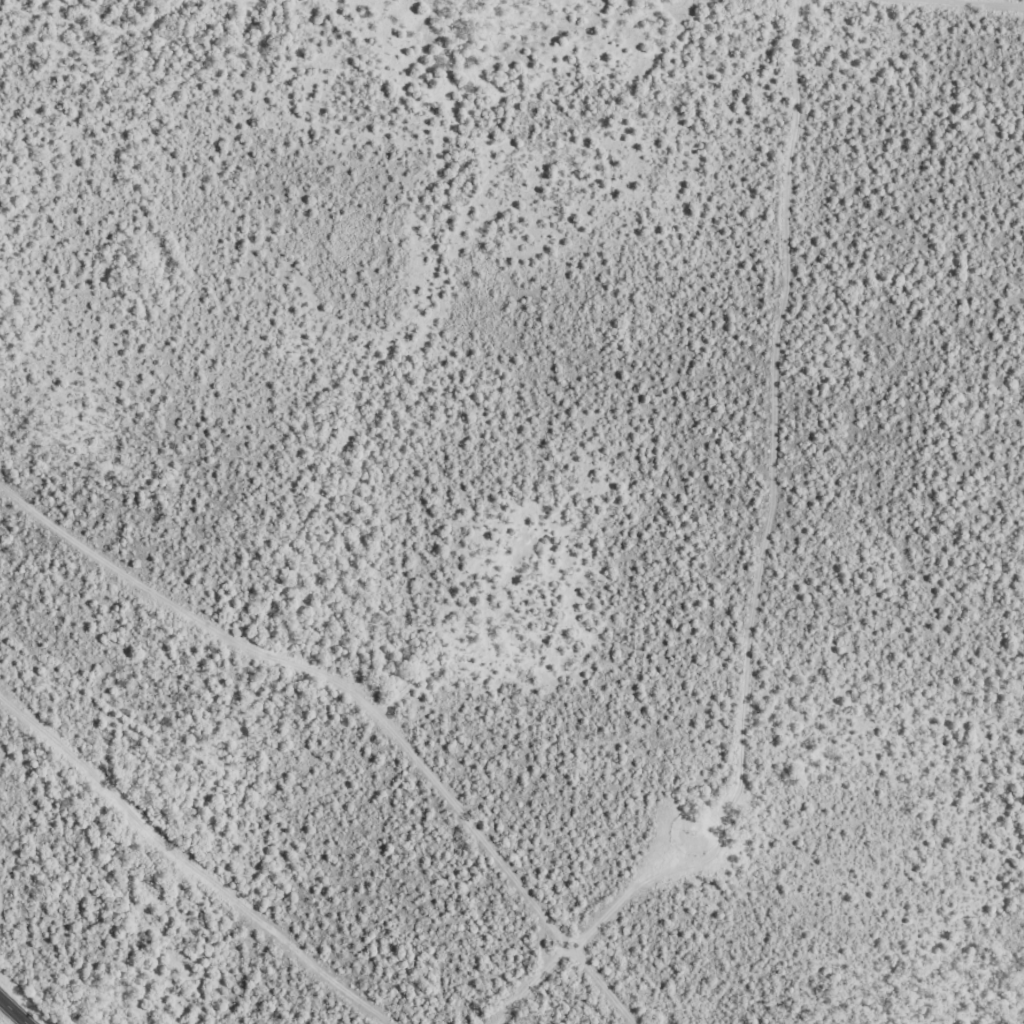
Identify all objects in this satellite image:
road: (760, 25)
road: (13, 1011)

